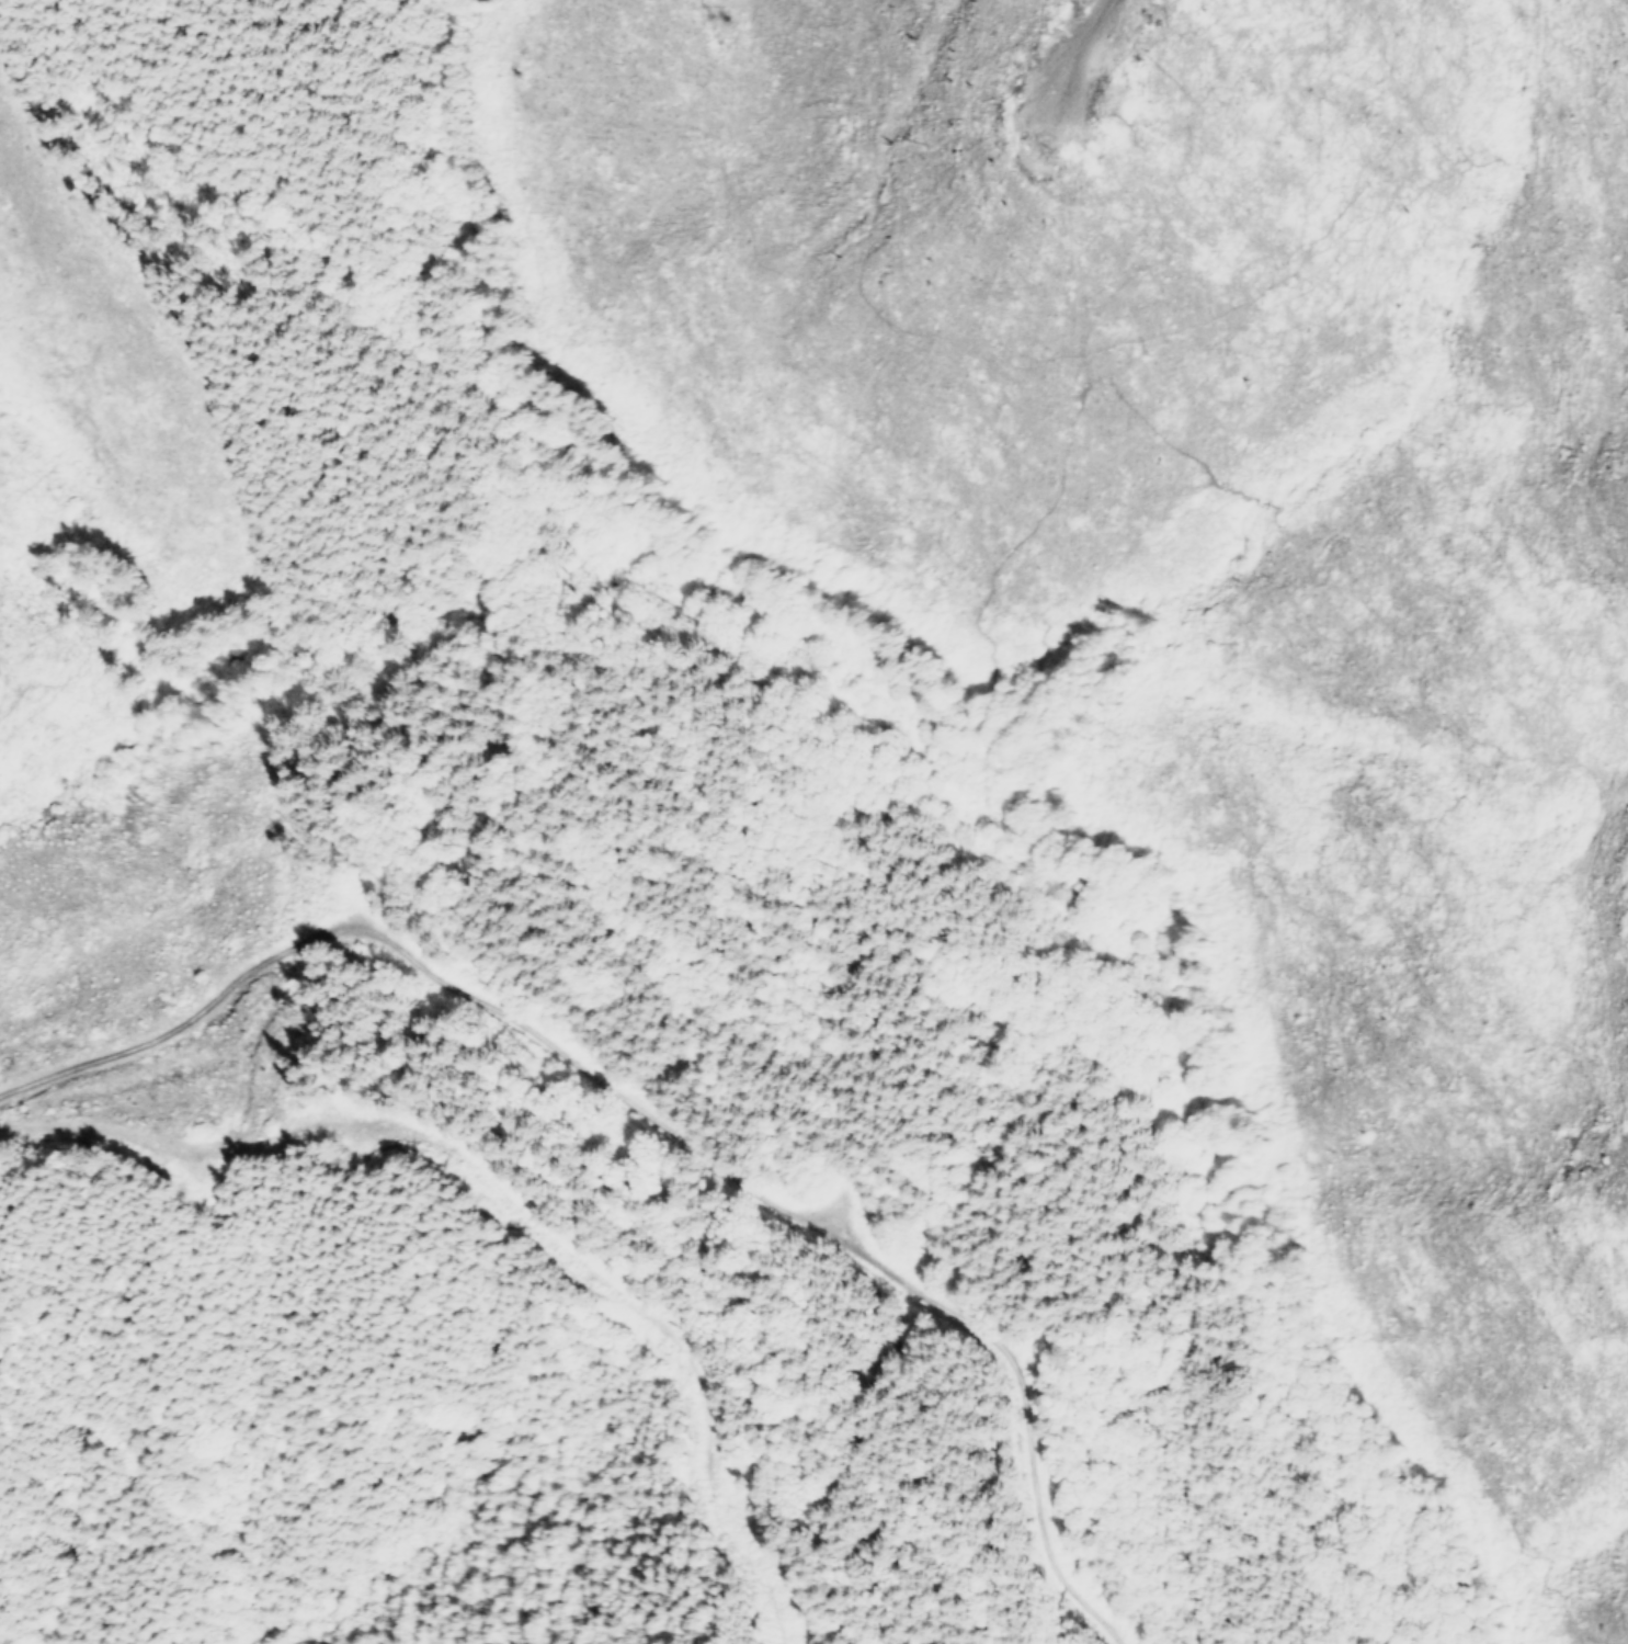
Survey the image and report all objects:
road: (1113, 37)
road: (1612, 860)
road: (644, 1111)

